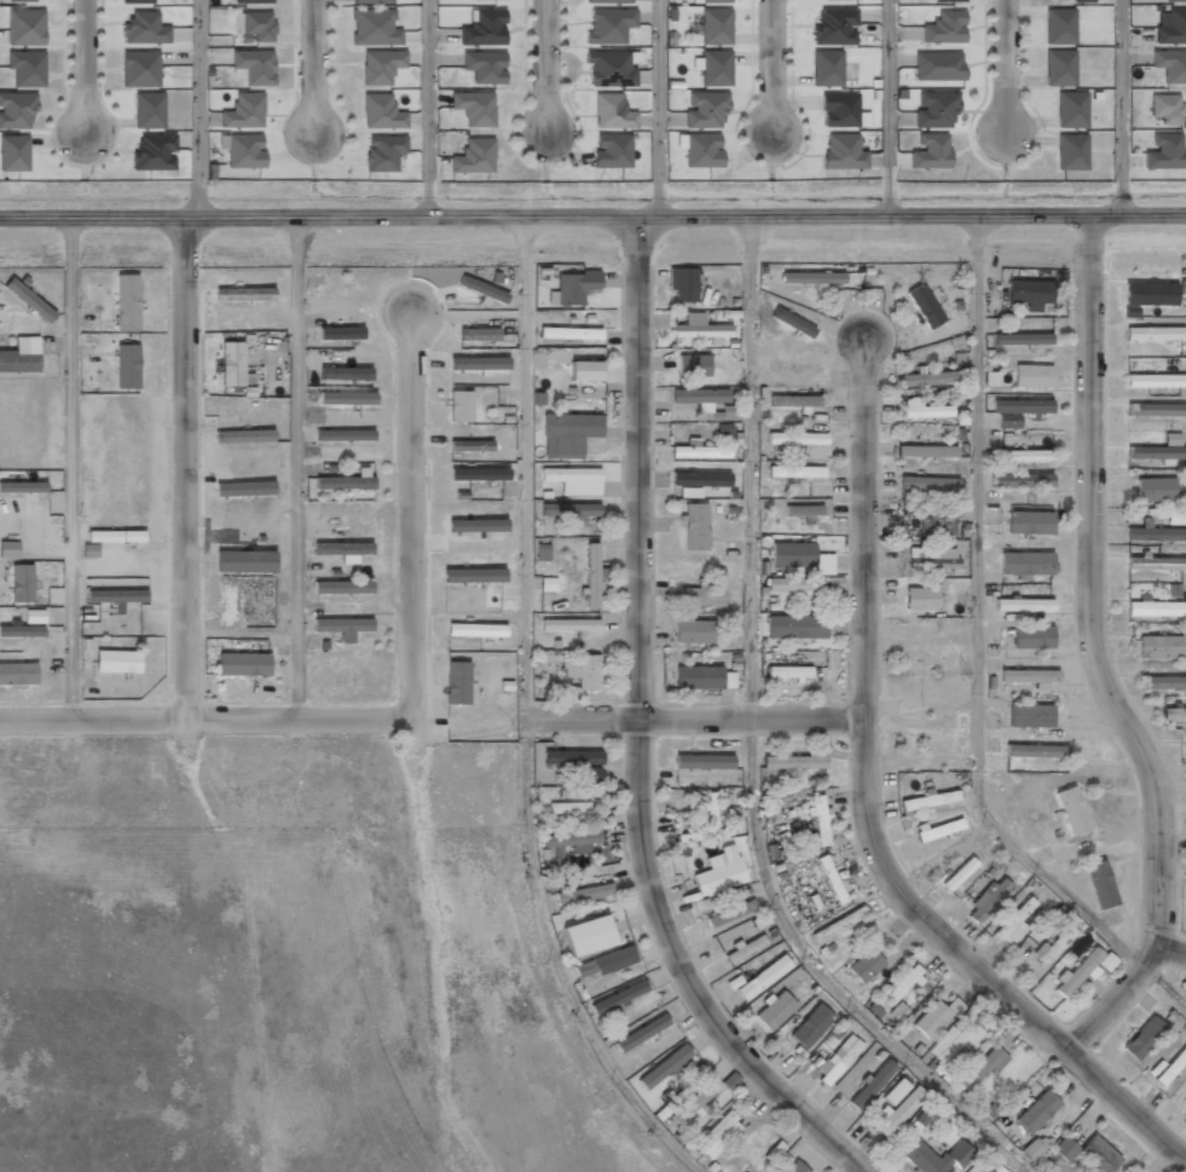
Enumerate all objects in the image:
building: (21, 0)
building: (948, 0)
building: (138, 1)
building: (251, 1)
building: (371, 1)
building: (607, 1)
building: (713, 1)
building: (1082, 1)
building: (1175, 1)
building: (607, 24)
building: (1059, 24)
building: (24, 25)
building: (255, 25)
building: (713, 25)
building: (833, 25)
building: (372, 27)
building: (482, 27)
building: (944, 27)
building: (1171, 27)
building: (143, 28)
road: (1008, 62)
building: (253, 64)
building: (1169, 64)
building: (380, 65)
building: (484, 65)
building: (937, 65)
building: (25, 67)
building: (715, 67)
building: (826, 67)
building: (1059, 67)
road: (81, 68)
road: (314, 68)
road: (543, 68)
building: (608, 68)
road: (771, 68)
building: (139, 69)
building: (473, 106)
road: (199, 108)
building: (705, 108)
road: (886, 108)
building: (933, 108)
road: (1121, 108)
building: (1164, 108)
building: (242, 109)
road: (426, 109)
road: (656, 109)
building: (837, 109)
building: (1070, 109)
building: (16, 110)
building: (147, 110)
building: (381, 111)
building: (611, 111)
building: (241, 150)
building: (611, 150)
building: (701, 150)
building: (152, 151)
building: (382, 151)
building: (840, 151)
building: (930, 151)
building: (1070, 151)
building: (1164, 151)
building: (13, 152)
building: (473, 156)
road: (592, 218)
building: (811, 277)
building: (682, 283)
building: (572, 288)
building: (1029, 293)
building: (1149, 293)
building: (243, 294)
building: (29, 300)
building: (126, 302)
building: (924, 306)
building: (699, 328)
building: (340, 333)
building: (569, 333)
building: (1153, 333)
building: (478, 334)
building: (1022, 339)
building: (21, 356)
building: (231, 363)
building: (693, 365)
building: (126, 366)
building: (796, 366)
building: (345, 373)
building: (571, 376)
building: (1032, 376)
building: (928, 377)
building: (990, 379)
building: (1155, 380)
building: (700, 397)
building: (347, 398)
building: (794, 400)
building: (459, 405)
building: (922, 409)
building: (1155, 409)
building: (1018, 410)
building: (729, 411)
building: (569, 433)
building: (343, 434)
building: (243, 435)
building: (797, 438)
building: (1171, 439)
building: (470, 446)
building: (699, 450)
building: (926, 451)
building: (1156, 454)
building: (1023, 456)
road: (526, 466)
road: (295, 467)
road: (748, 468)
road: (70, 469)
road: (185, 469)
building: (796, 470)
building: (479, 473)
building: (700, 479)
building: (346, 480)
building: (574, 480)
building: (1022, 480)
building: (928, 483)
building: (22, 487)
building: (244, 489)
building: (1155, 489)
road: (409, 510)
building: (569, 510)
building: (803, 510)
building: (1173, 516)
building: (1029, 523)
building: (936, 524)
building: (478, 525)
building: (695, 527)
building: (1153, 532)
building: (8, 549)
building: (343, 550)
building: (542, 553)
building: (792, 554)
building: (932, 558)
building: (244, 561)
building: (1025, 562)
building: (1156, 562)
building: (591, 575)
building: (473, 576)
building: (21, 583)
building: (834, 583)
building: (548, 584)
building: (792, 584)
building: (342, 587)
building: (701, 595)
building: (116, 596)
building: (920, 599)
building: (1023, 605)
building: (1155, 607)
road: (979, 623)
building: (569, 624)
building: (25, 625)
building: (796, 627)
building: (342, 628)
building: (475, 630)
building: (693, 631)
building: (1032, 636)
building: (1158, 647)
road: (1093, 657)
building: (117, 662)
building: (243, 664)
building: (788, 671)
building: (17, 672)
building: (1029, 676)
building: (698, 677)
building: (728, 680)
building: (457, 682)
building: (1165, 682)
building: (1174, 714)
building: (1029, 715)
road: (582, 716)
road: (751, 718)
road: (204, 721)
road: (638, 732)
building: (1035, 751)
building: (1185, 751)
building: (702, 761)
building: (796, 761)
building: (931, 799)
building: (567, 807)
building: (1071, 810)
building: (707, 812)
road: (864, 816)
building: (820, 821)
building: (938, 829)
building: (573, 841)
road: (1171, 845)
building: (719, 872)
building: (959, 873)
building: (831, 879)
building: (1099, 884)
building: (585, 894)
building: (988, 900)
building: (730, 913)
building: (1014, 922)
building: (839, 924)
building: (588, 935)
building: (1052, 945)
building: (746, 947)
road: (1169, 952)
building: (614, 959)
building: (1106, 962)
road: (555, 963)
building: (866, 965)
building: (1077, 972)
building: (763, 977)
road: (825, 977)
road: (1163, 987)
building: (618, 997)
building: (775, 1010)
building: (897, 1011)
building: (936, 1017)
building: (810, 1026)
building: (641, 1033)
building: (1144, 1038)
building: (953, 1043)
building: (839, 1057)
building: (1171, 1066)
building: (664, 1068)
building: (730, 1081)
building: (872, 1084)
building: (895, 1091)
building: (690, 1104)
building: (895, 1112)
building: (1036, 1112)
building: (922, 1116)
building: (717, 1136)
building: (1034, 1148)
building: (1064, 1148)
building: (1097, 1155)
building: (935, 1156)
building: (796, 1167)
building: (996, 1168)

